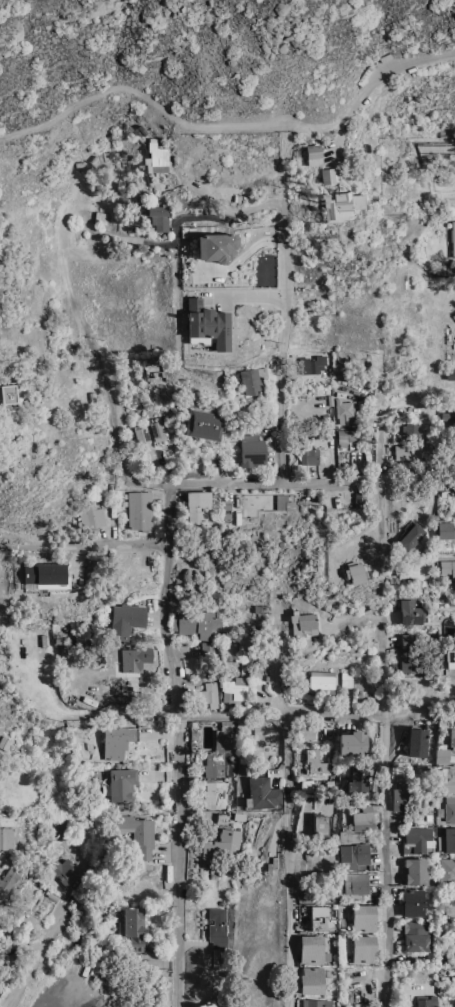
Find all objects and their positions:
road: (399, 72)
road: (168, 111)
road: (346, 123)
building: (313, 154)
building: (155, 157)
building: (327, 174)
road: (273, 203)
building: (341, 205)
building: (157, 218)
road: (174, 233)
building: (453, 237)
building: (215, 246)
building: (207, 323)
road: (285, 335)
road: (114, 355)
building: (450, 373)
building: (251, 379)
building: (7, 395)
building: (342, 411)
building: (202, 424)
building: (156, 428)
building: (411, 430)
building: (141, 434)
building: (346, 437)
building: (252, 450)
building: (408, 452)
building: (308, 455)
road: (382, 472)
road: (163, 489)
road: (278, 489)
building: (283, 502)
building: (197, 505)
building: (138, 510)
building: (90, 516)
building: (445, 530)
building: (410, 536)
road: (86, 546)
building: (407, 567)
building: (447, 567)
building: (353, 572)
building: (43, 573)
road: (171, 605)
building: (409, 612)
building: (125, 619)
building: (195, 623)
building: (303, 624)
building: (242, 641)
building: (208, 648)
building: (409, 652)
building: (135, 658)
building: (449, 658)
building: (320, 679)
building: (346, 679)
building: (234, 688)
building: (207, 693)
road: (287, 715)
road: (88, 716)
road: (386, 718)
road: (283, 719)
building: (452, 737)
building: (118, 740)
building: (417, 741)
building: (353, 742)
building: (220, 752)
building: (442, 755)
building: (316, 761)
building: (358, 778)
building: (448, 779)
building: (122, 783)
building: (306, 785)
building: (263, 793)
building: (216, 794)
building: (401, 796)
building: (450, 808)
building: (365, 819)
building: (320, 825)
building: (57, 829)
building: (138, 834)
building: (350, 835)
building: (6, 837)
building: (450, 839)
building: (419, 840)
building: (223, 845)
building: (354, 855)
road: (178, 862)
building: (63, 870)
building: (416, 871)
building: (447, 871)
building: (8, 880)
road: (288, 881)
building: (356, 882)
road: (387, 883)
building: (0, 902)
building: (414, 902)
building: (451, 903)
building: (364, 917)
building: (322, 918)
building: (134, 926)
building: (441, 926)
building: (218, 928)
building: (417, 935)
building: (454, 938)
building: (311, 948)
building: (364, 948)
road: (33, 959)
building: (311, 980)
building: (427, 1000)
building: (211, 1003)
building: (316, 1003)

